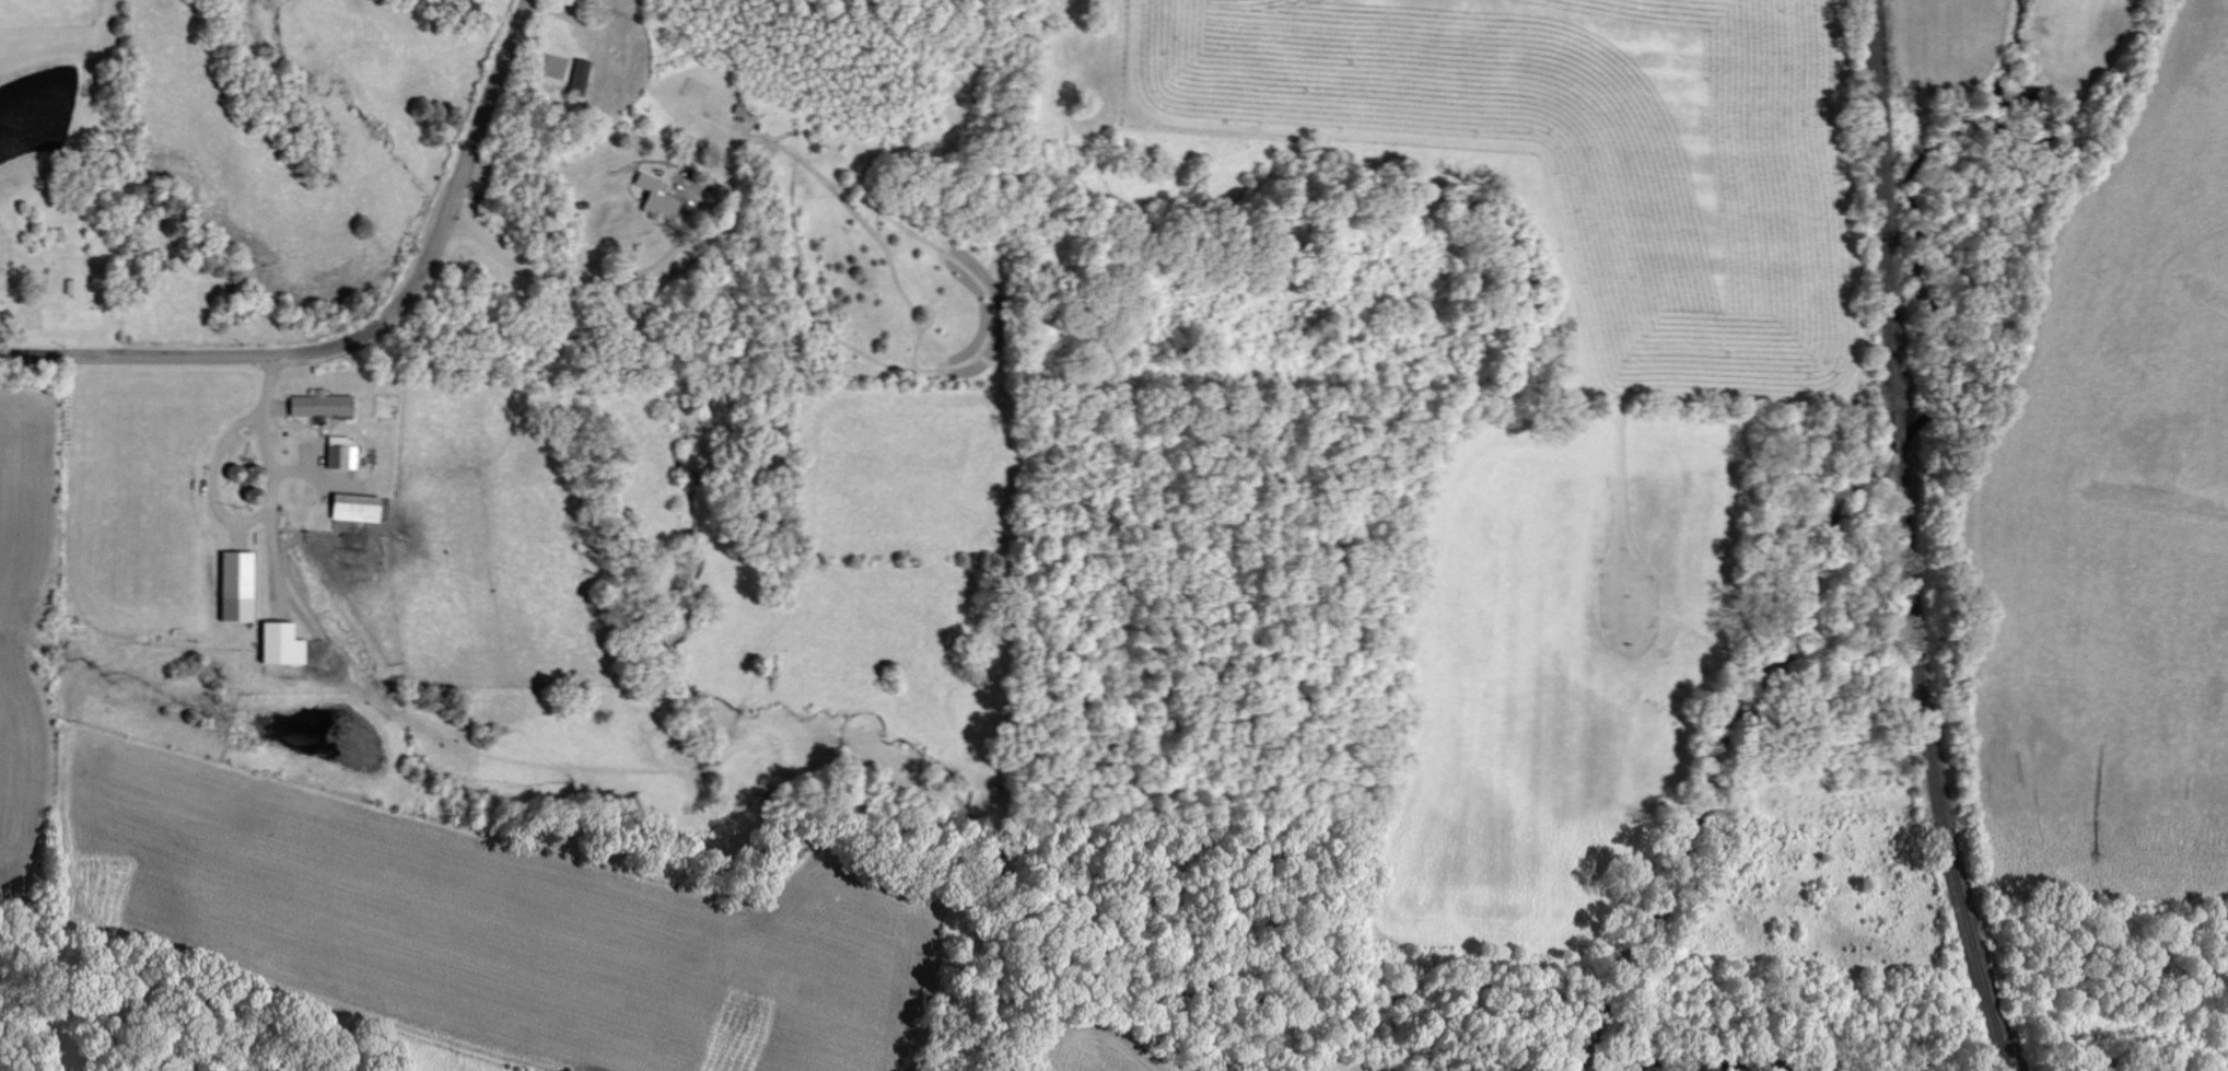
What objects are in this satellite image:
building: (580, 77)
road: (457, 175)
building: (657, 197)
road: (585, 290)
road: (184, 353)
building: (320, 403)
building: (340, 452)
road: (211, 479)
road: (270, 481)
building: (357, 505)
railway: (1898, 538)
building: (238, 584)
building: (282, 642)

